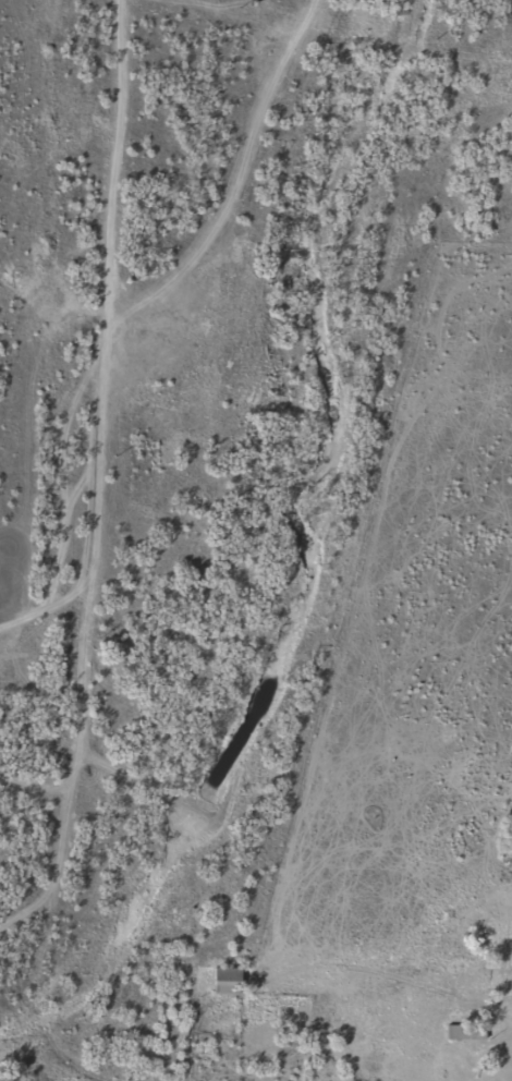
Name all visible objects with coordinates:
road: (98, 542)
building: (223, 976)
building: (461, 1032)

